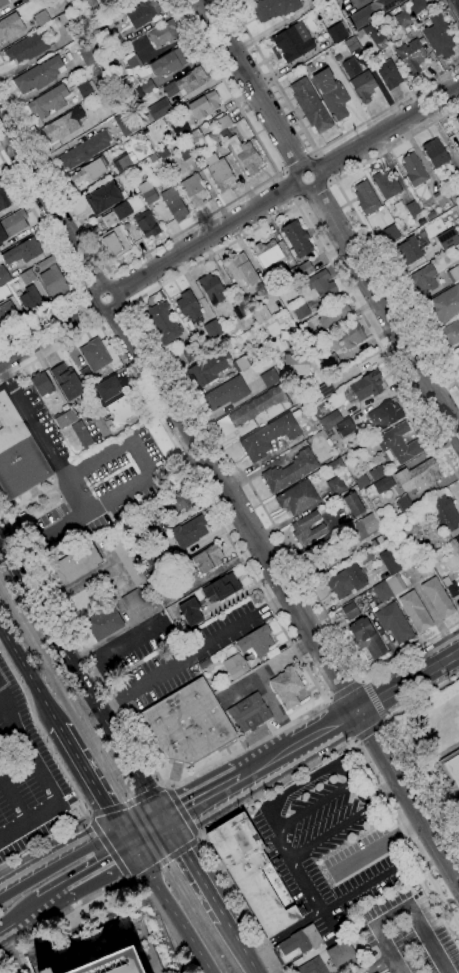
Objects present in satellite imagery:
building: (25, 1)
building: (4, 2)
building: (416, 6)
building: (275, 9)
building: (372, 11)
building: (144, 13)
road: (450, 13)
building: (403, 17)
building: (42, 18)
building: (65, 18)
building: (11, 26)
building: (164, 33)
building: (337, 33)
building: (439, 36)
building: (115, 40)
building: (373, 40)
building: (293, 42)
building: (351, 44)
building: (29, 47)
building: (88, 54)
building: (412, 57)
building: (172, 61)
building: (134, 62)
building: (351, 67)
building: (389, 74)
building: (40, 75)
building: (191, 81)
road: (251, 81)
building: (364, 86)
building: (145, 88)
building: (87, 89)
building: (332, 93)
building: (49, 101)
building: (205, 104)
building: (311, 106)
building: (159, 109)
building: (457, 121)
building: (126, 123)
building: (63, 125)
building: (223, 126)
road: (386, 128)
building: (181, 129)
building: (195, 136)
building: (214, 137)
road: (396, 142)
road: (314, 146)
building: (87, 149)
building: (186, 153)
road: (314, 153)
building: (435, 153)
building: (163, 154)
building: (245, 155)
building: (127, 161)
road: (298, 164)
road: (301, 165)
road: (319, 168)
building: (414, 170)
building: (89, 172)
building: (220, 172)
road: (281, 172)
building: (458, 172)
building: (0, 177)
road: (330, 181)
road: (291, 184)
road: (299, 184)
building: (386, 184)
road: (313, 189)
building: (194, 190)
building: (148, 192)
building: (367, 197)
building: (441, 197)
building: (4, 198)
building: (103, 198)
road: (298, 201)
building: (175, 203)
road: (49, 206)
building: (413, 208)
building: (122, 210)
building: (147, 224)
building: (12, 225)
road: (187, 227)
building: (391, 233)
road: (205, 236)
building: (297, 238)
building: (448, 239)
building: (116, 242)
building: (408, 250)
building: (23, 251)
building: (268, 253)
building: (48, 262)
road: (64, 264)
building: (306, 269)
building: (453, 273)
building: (295, 274)
building: (4, 275)
road: (110, 275)
building: (244, 275)
building: (28, 277)
building: (424, 279)
building: (55, 282)
road: (97, 284)
building: (321, 285)
road: (396, 285)
building: (213, 289)
road: (116, 290)
building: (4, 291)
road: (83, 292)
building: (31, 297)
road: (127, 303)
road: (93, 304)
building: (188, 305)
building: (445, 305)
road: (98, 306)
road: (385, 309)
building: (300, 310)
road: (112, 311)
building: (240, 311)
building: (7, 312)
building: (333, 313)
building: (261, 314)
road: (100, 321)
road: (139, 321)
building: (163, 322)
building: (213, 329)
road: (48, 333)
building: (452, 333)
building: (351, 335)
road: (70, 340)
building: (188, 351)
building: (457, 354)
building: (95, 355)
building: (331, 362)
building: (240, 364)
building: (295, 364)
building: (208, 368)
building: (88, 376)
building: (270, 377)
building: (66, 381)
building: (42, 384)
building: (367, 385)
building: (111, 387)
building: (226, 394)
building: (122, 410)
building: (250, 410)
building: (385, 415)
building: (66, 419)
building: (331, 420)
road: (34, 421)
building: (346, 428)
building: (84, 436)
building: (270, 436)
building: (398, 444)
building: (18, 453)
road: (147, 456)
building: (335, 465)
building: (289, 472)
building: (378, 472)
building: (418, 476)
building: (362, 481)
building: (383, 484)
building: (336, 486)
road: (80, 496)
building: (298, 498)
building: (180, 502)
building: (404, 503)
building: (353, 504)
building: (444, 512)
building: (404, 520)
building: (365, 527)
building: (308, 529)
building: (190, 532)
road: (52, 539)
building: (457, 540)
building: (377, 541)
building: (422, 549)
building: (152, 557)
building: (365, 558)
building: (129, 561)
building: (391, 561)
building: (77, 564)
building: (425, 569)
building: (193, 571)
building: (347, 581)
building: (396, 584)
building: (451, 586)
building: (223, 587)
building: (383, 591)
road: (287, 592)
building: (136, 598)
building: (438, 598)
road: (265, 609)
building: (350, 611)
building: (416, 611)
building: (190, 612)
road: (433, 616)
building: (104, 623)
building: (394, 623)
road: (3, 638)
building: (366, 638)
building: (256, 642)
road: (120, 646)
building: (205, 664)
building: (235, 666)
road: (171, 667)
road: (29, 675)
railway: (60, 675)
road: (361, 679)
road: (81, 680)
building: (287, 687)
road: (345, 689)
railway: (59, 690)
road: (327, 699)
road: (372, 700)
building: (249, 713)
road: (350, 715)
road: (385, 720)
building: (188, 724)
road: (369, 730)
road: (352, 741)
road: (401, 745)
railway: (99, 750)
building: (451, 769)
road: (200, 773)
road: (297, 773)
parking lot: (27, 776)
road: (70, 778)
road: (90, 778)
road: (314, 779)
road: (47, 780)
road: (380, 789)
road: (14, 798)
road: (202, 798)
road: (129, 805)
road: (316, 807)
road: (183, 813)
road: (271, 819)
traffic signals: (165, 821)
road: (142, 822)
road: (345, 825)
traffic signals: (122, 831)
road: (150, 836)
road: (128, 840)
road: (285, 844)
road: (109, 847)
traffic signals: (134, 849)
road: (59, 859)
road: (167, 859)
road: (98, 868)
road: (198, 873)
building: (255, 874)
railway: (180, 875)
railway: (173, 881)
road: (116, 885)
road: (361, 889)
road: (313, 894)
road: (52, 896)
road: (172, 911)
road: (19, 914)
road: (284, 932)
building: (298, 945)
road: (244, 949)
building: (341, 953)
road: (381, 962)
building: (113, 963)
building: (312, 967)
building: (46, 971)

